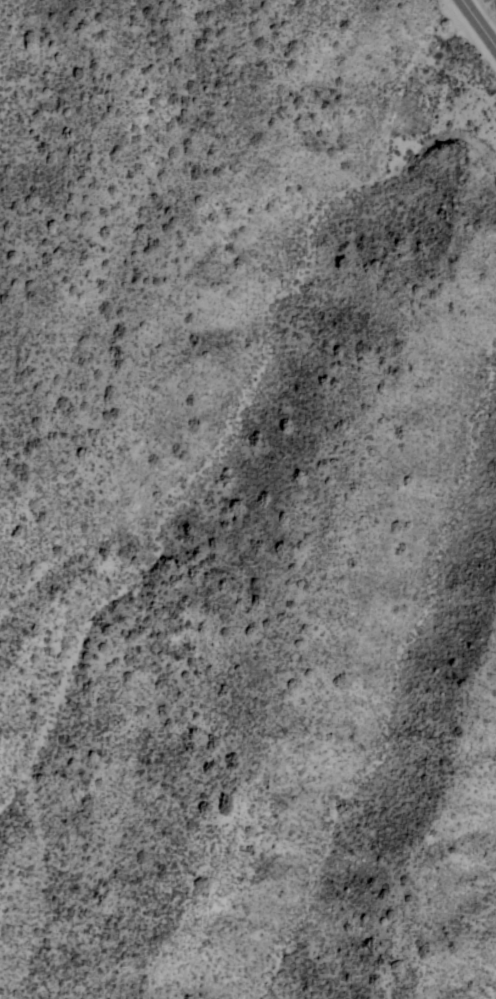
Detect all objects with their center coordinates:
road: (479, 22)
road: (336, 973)

